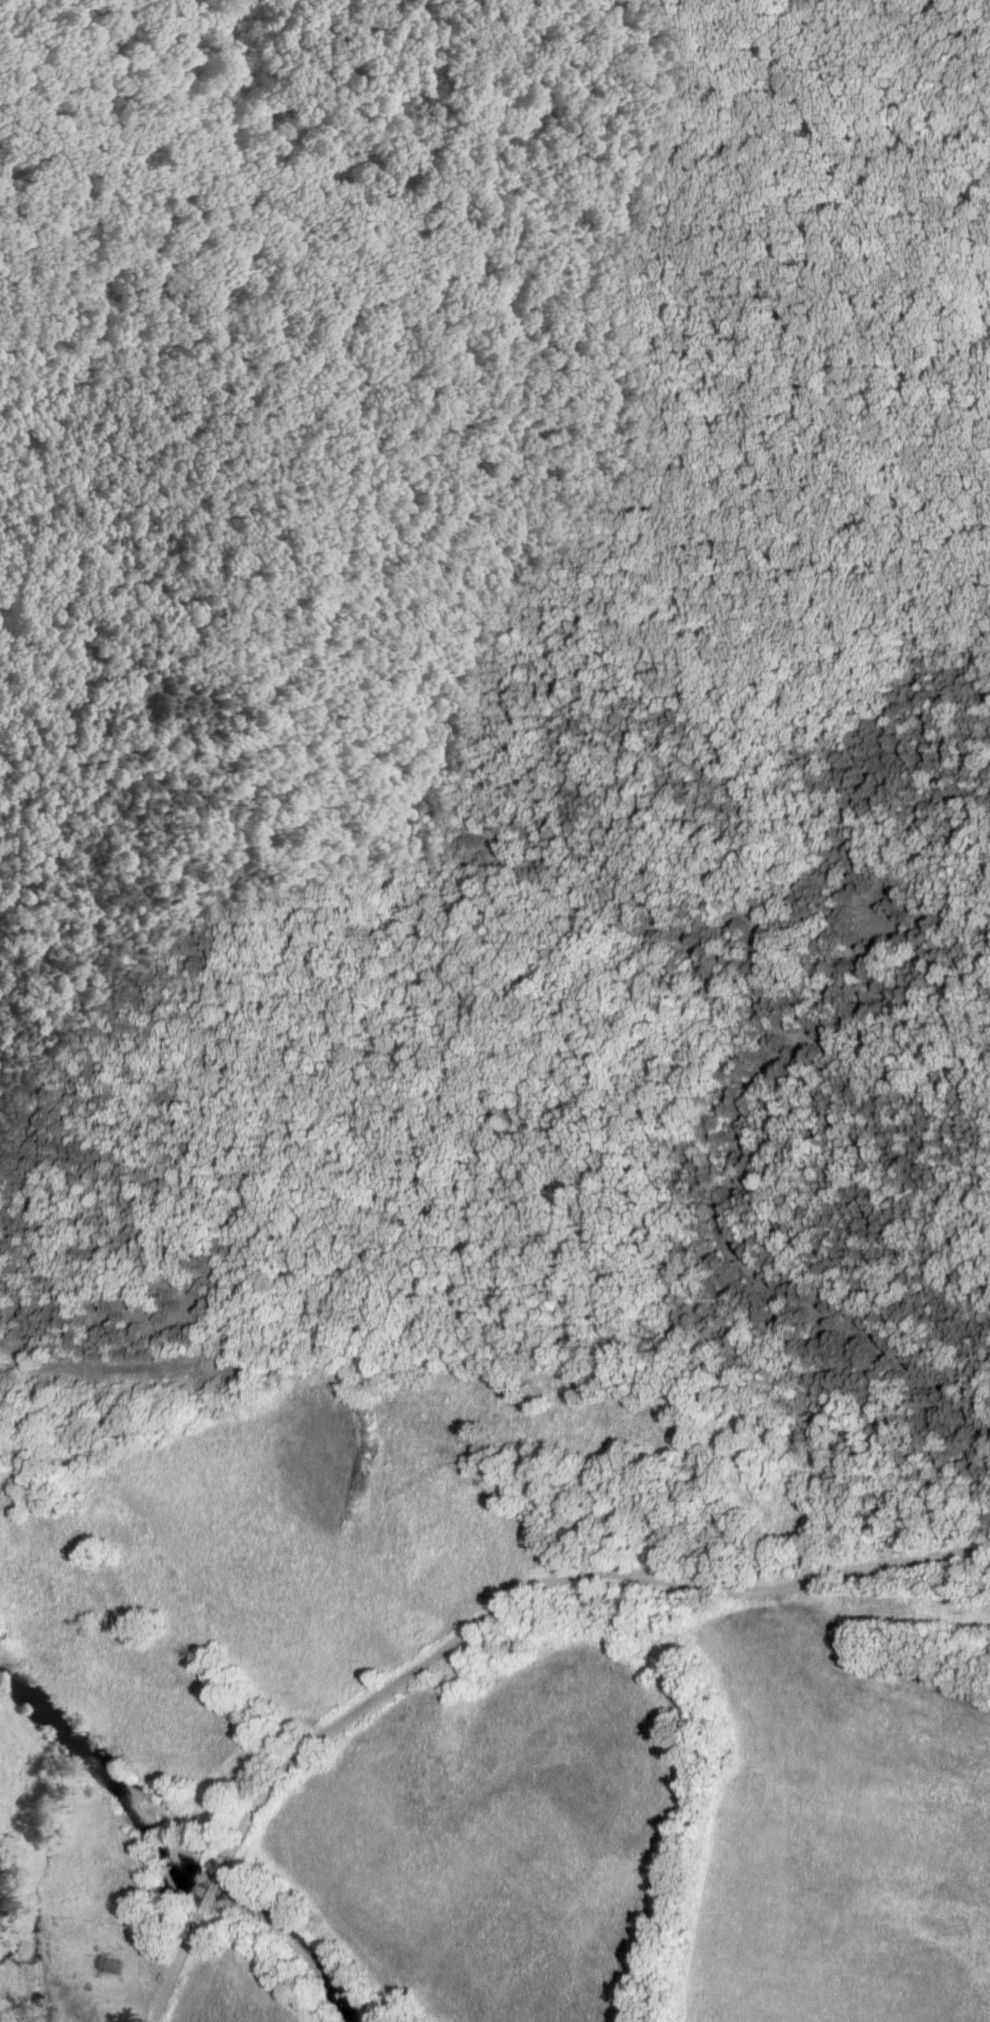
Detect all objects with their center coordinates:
road: (479, 1625)
building: (109, 1966)

